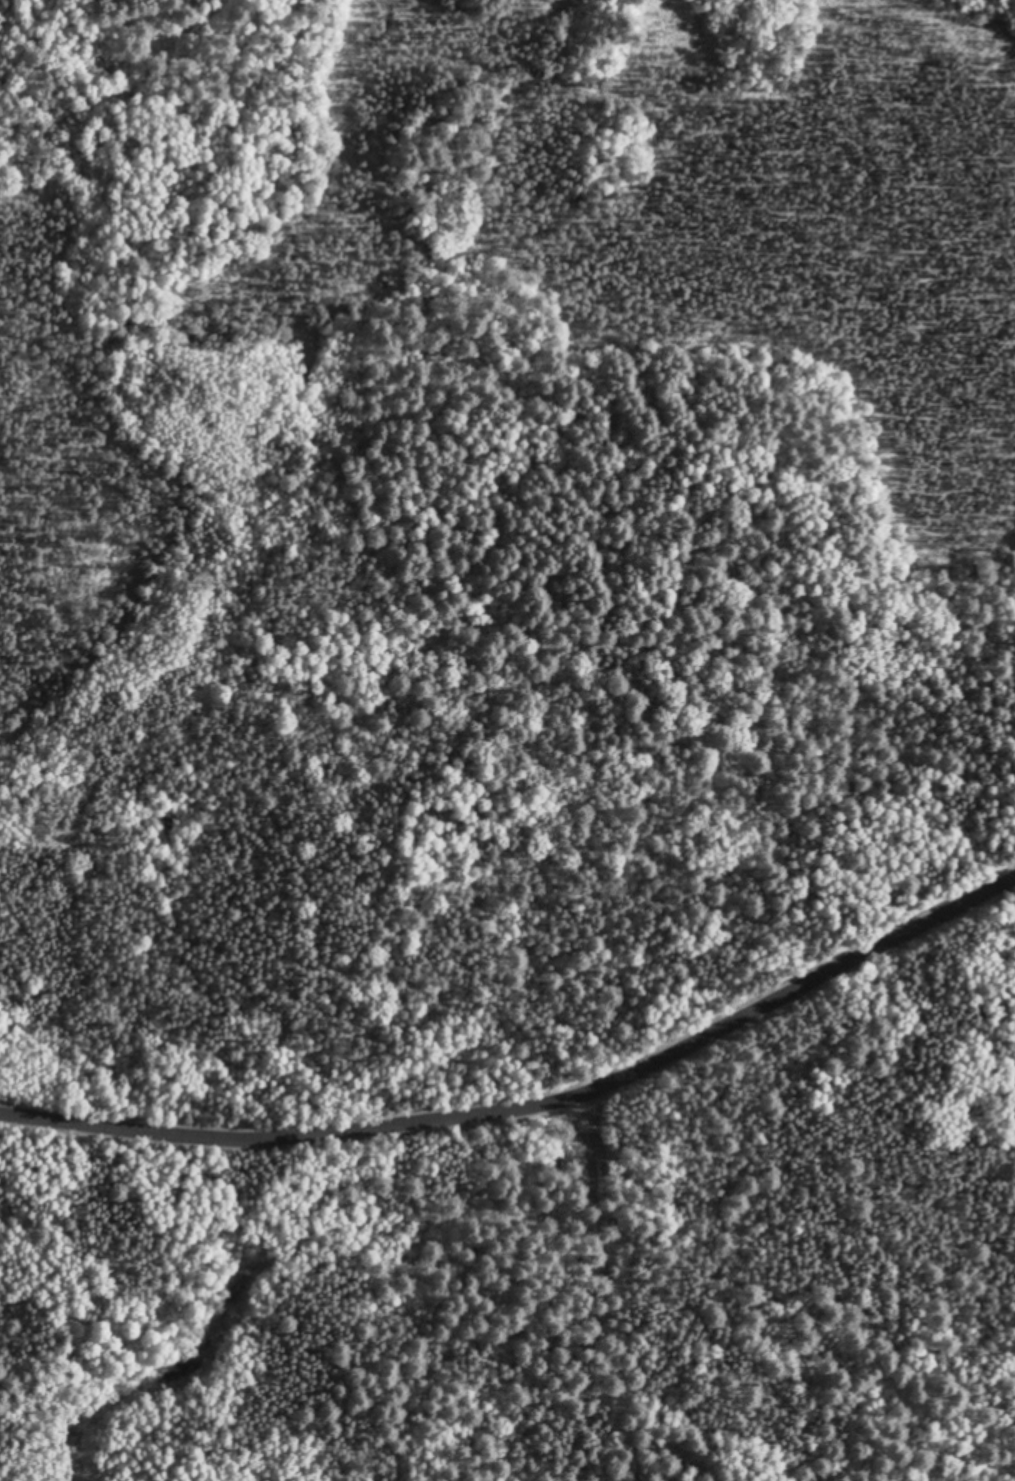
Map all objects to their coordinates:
road: (529, 1091)

